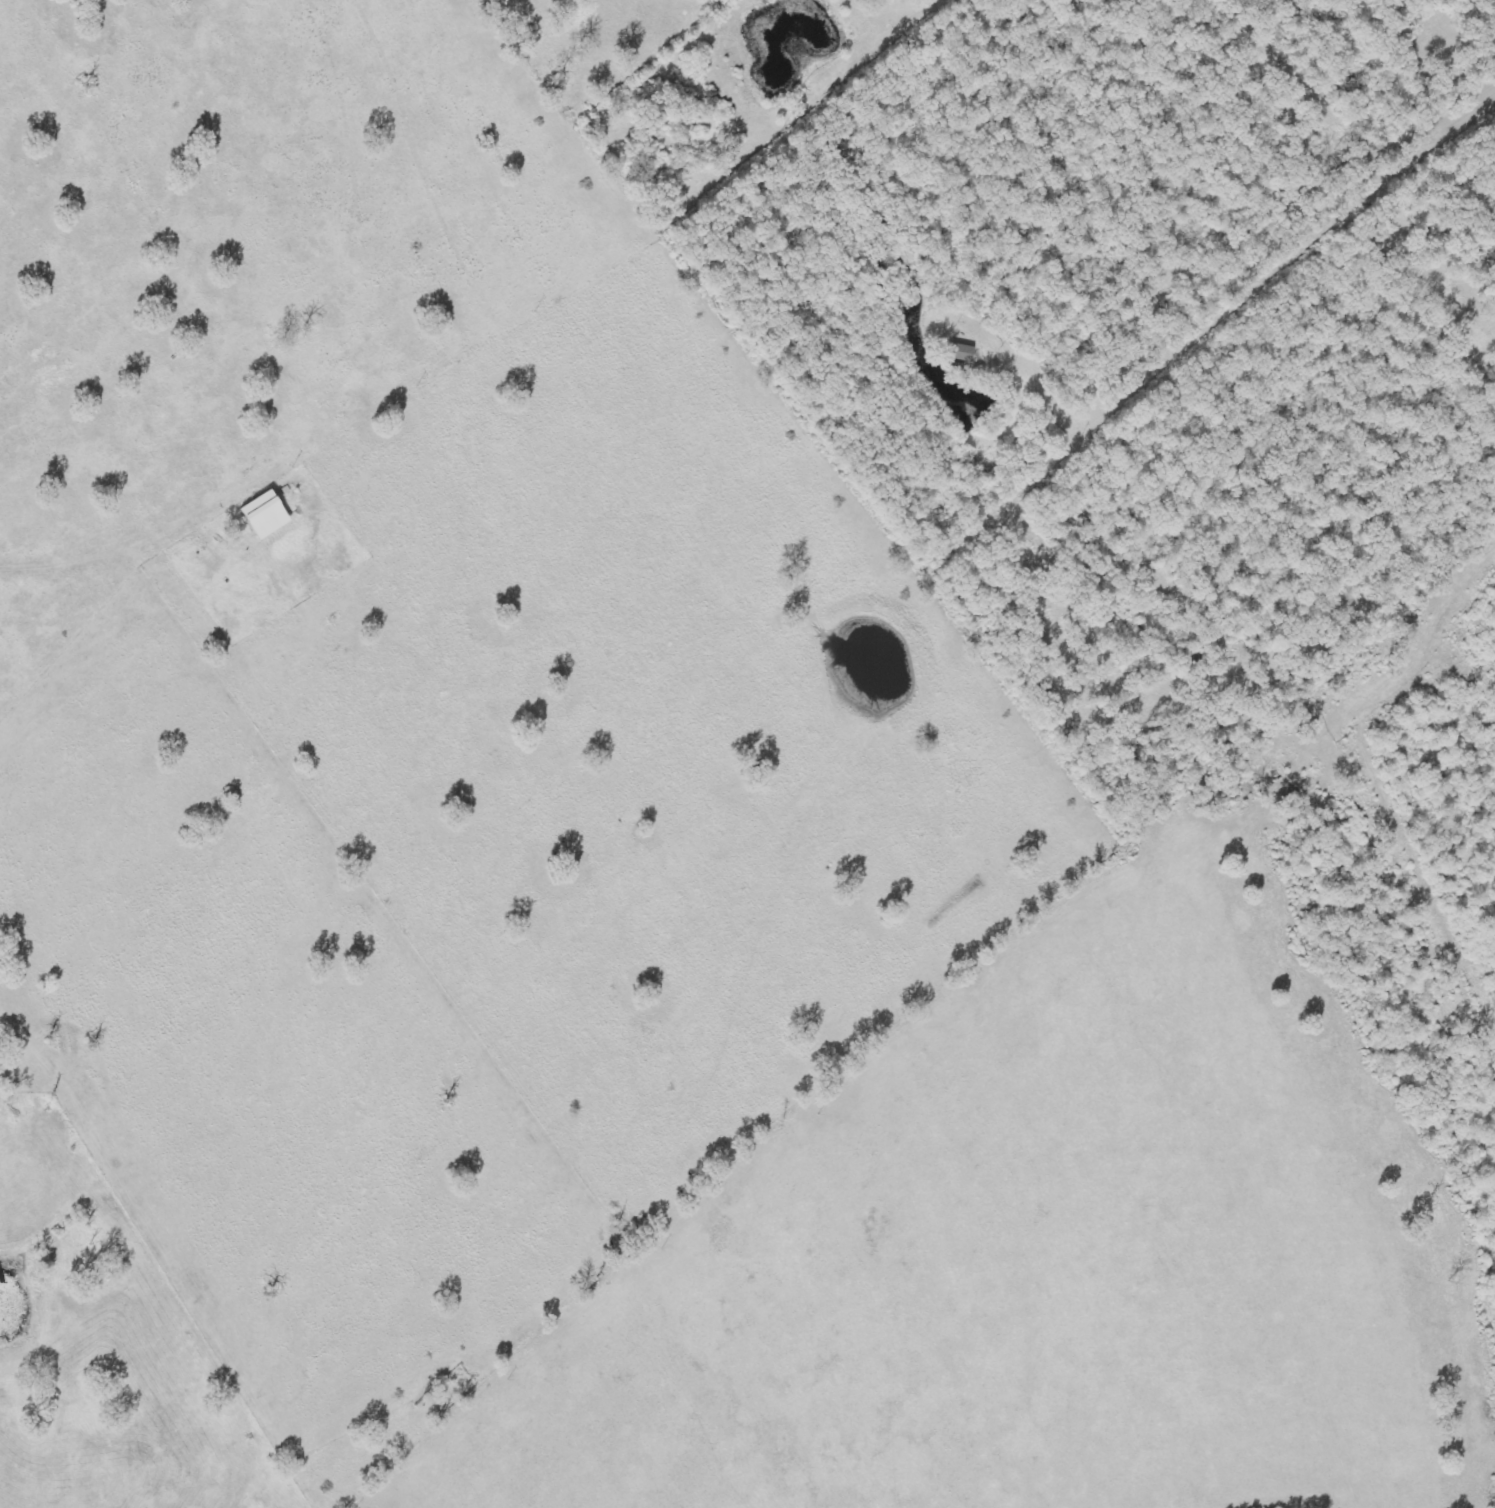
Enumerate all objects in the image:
building: (268, 515)

